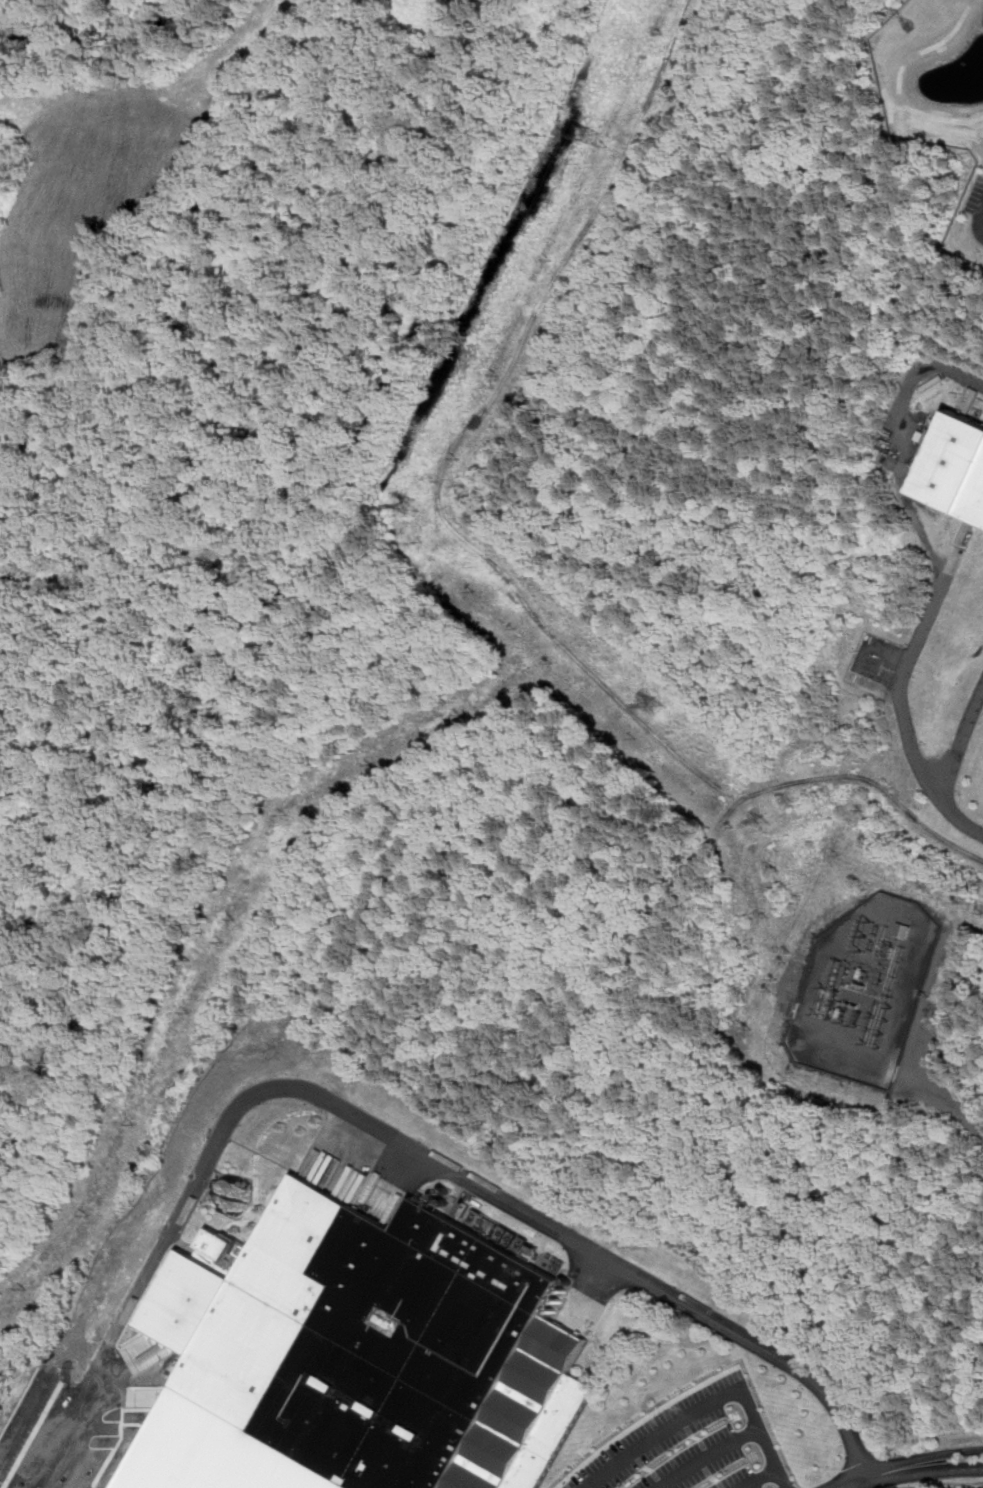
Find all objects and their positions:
power tower: (599, 140)
road: (978, 223)
road: (898, 444)
building: (959, 466)
power tower: (417, 507)
road: (482, 552)
road: (899, 687)
power tower: (662, 705)
road: (961, 738)
power tower: (773, 821)
building: (901, 930)
power tower: (850, 969)
power substation: (866, 990)
road: (390, 1134)
building: (759, 1314)
building: (391, 1348)
road: (702, 1404)
building: (192, 1457)
road: (709, 1457)
road: (921, 1460)
road: (922, 1472)
road: (755, 1478)
road: (948, 1484)
road: (851, 1485)

